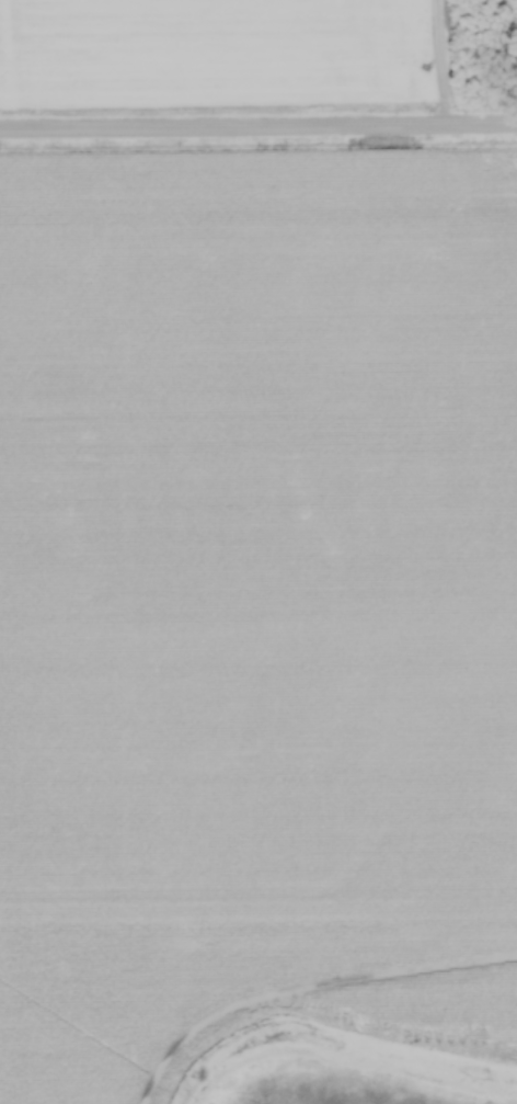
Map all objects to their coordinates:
crop: (221, 46)
road: (258, 126)
crop: (255, 602)

